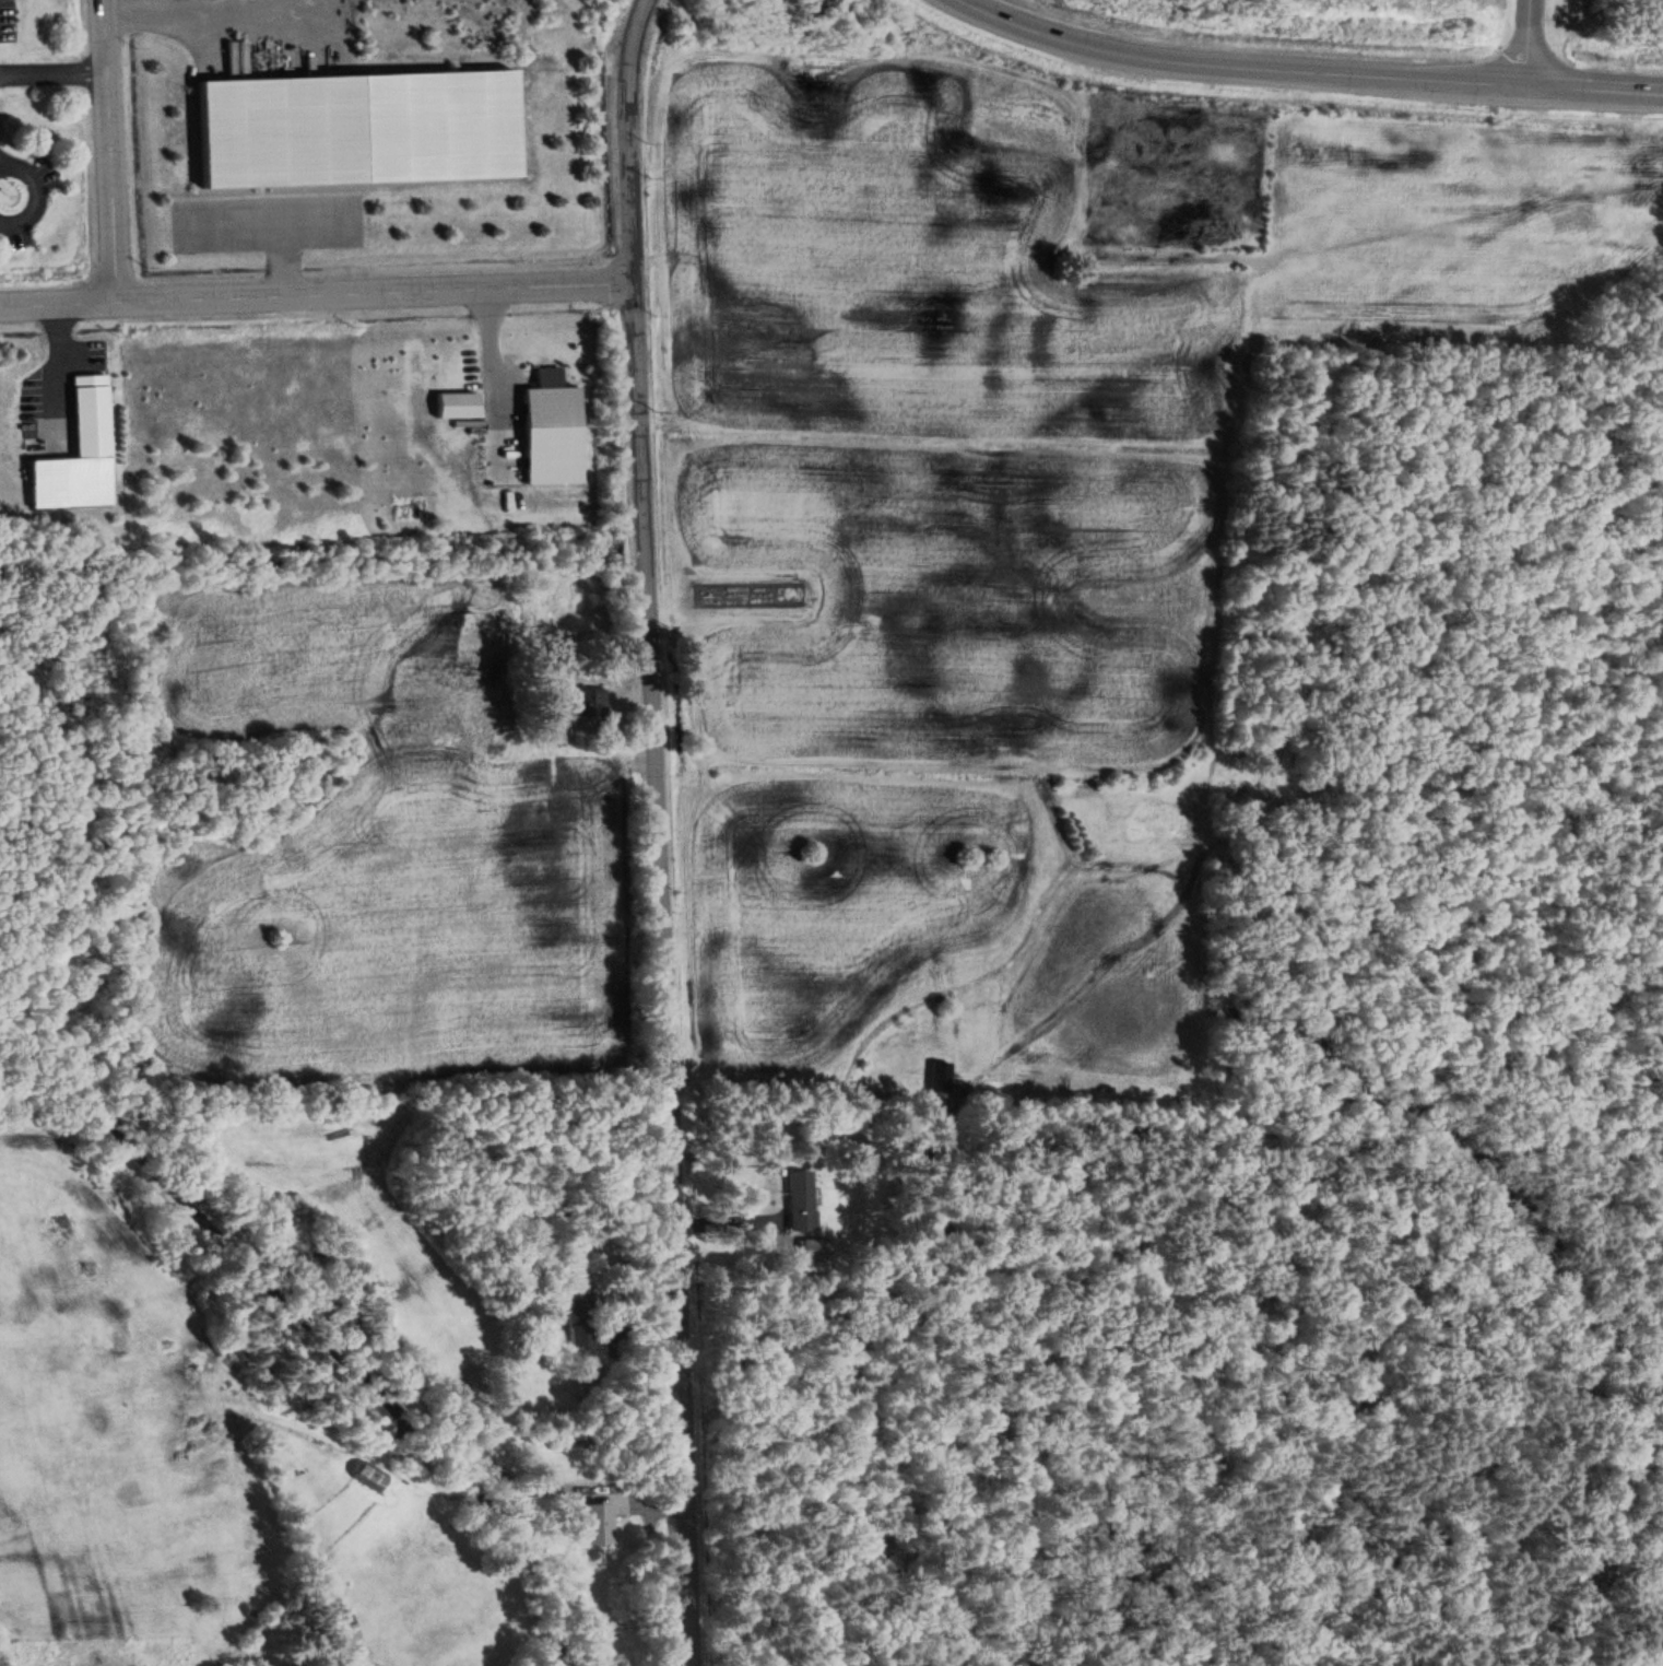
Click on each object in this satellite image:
road: (210, 5)
road: (1526, 42)
road: (51, 55)
road: (1302, 71)
building: (361, 122)
road: (108, 150)
road: (26, 177)
road: (309, 220)
road: (270, 221)
road: (317, 291)
road: (54, 348)
road: (491, 376)
building: (458, 400)
building: (553, 426)
building: (75, 434)
crop: (1007, 497)
park: (35, 559)
building: (592, 705)
road: (657, 832)
crop: (404, 885)
building: (941, 1072)
building: (801, 1198)
building: (814, 1246)
building: (579, 1321)
crop: (120, 1441)
building: (369, 1475)
building: (597, 1522)
building: (343, 1631)

